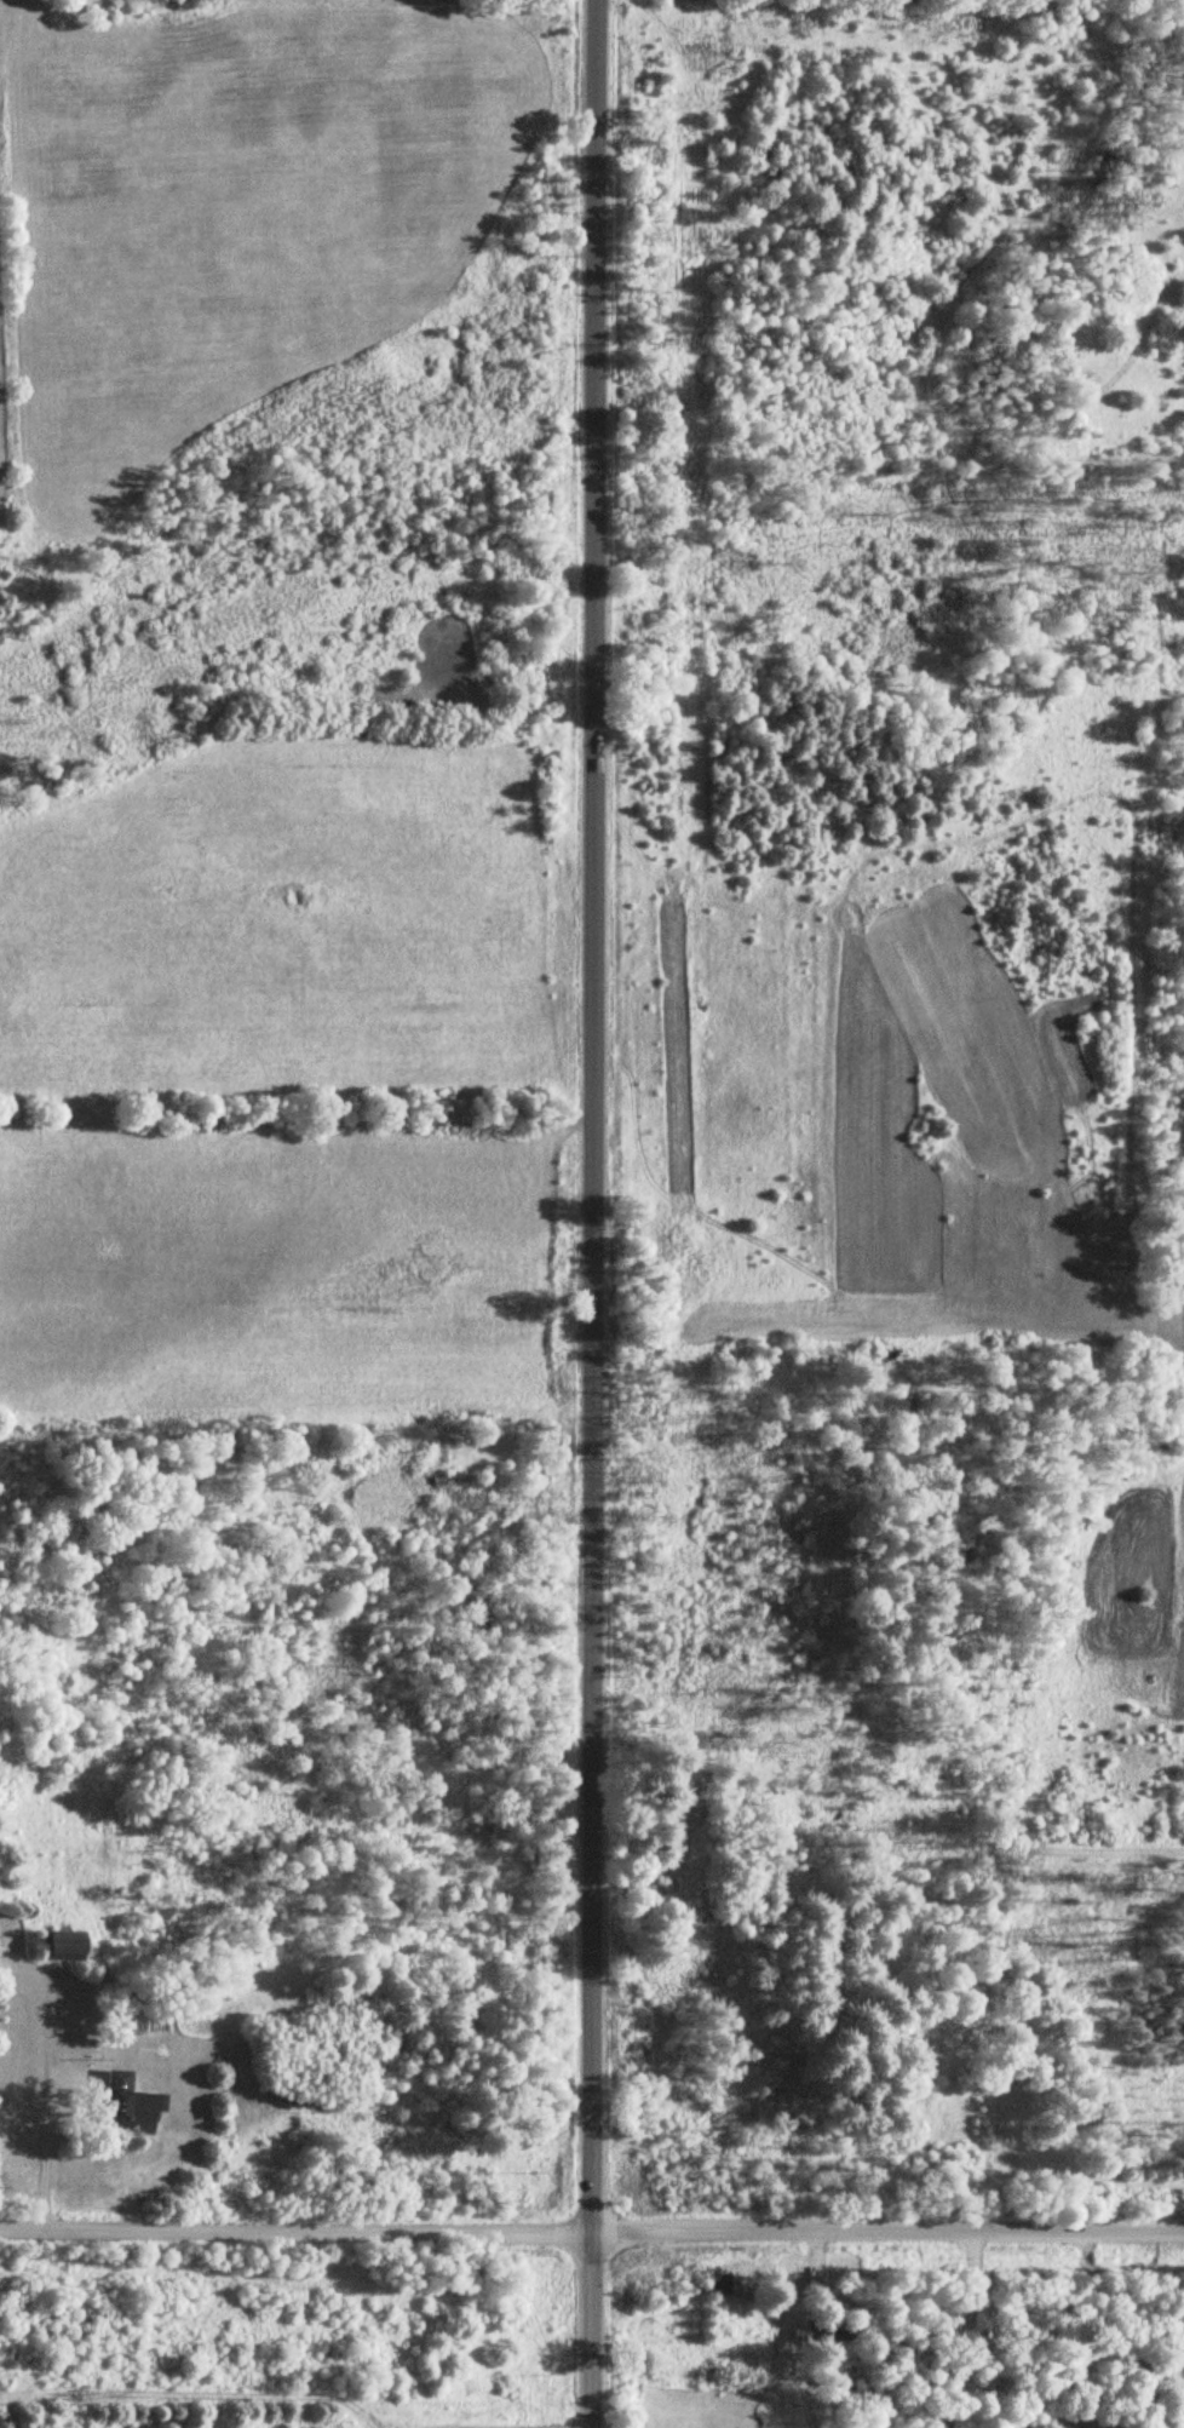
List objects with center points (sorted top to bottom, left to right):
road: (584, 1213)
building: (50, 1947)
building: (122, 2105)
road: (39, 2151)
road: (591, 2235)
road: (954, 2330)

